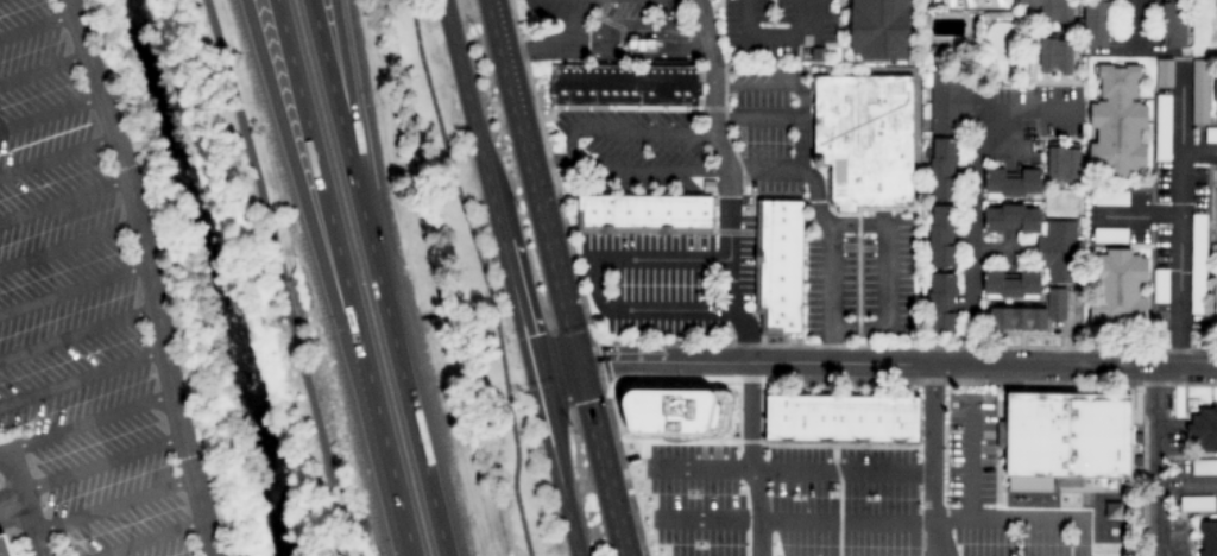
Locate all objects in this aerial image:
building: (1047, 10)
road: (34, 24)
building: (1093, 24)
building: (1169, 24)
building: (878, 29)
road: (639, 34)
road: (561, 45)
building: (639, 46)
road: (639, 56)
building: (1053, 56)
road: (43, 71)
building: (1164, 72)
building: (625, 87)
building: (1199, 91)
building: (1215, 93)
road: (49, 112)
road: (353, 113)
building: (1116, 122)
building: (1162, 128)
building: (944, 134)
building: (1210, 134)
building: (864, 139)
road: (568, 154)
road: (55, 156)
road: (551, 162)
building: (1061, 164)
building: (1010, 184)
building: (1110, 197)
road: (62, 200)
building: (643, 214)
building: (1010, 220)
building: (1109, 235)
building: (941, 238)
road: (269, 242)
road: (67, 245)
building: (1213, 248)
building: (1197, 264)
building: (777, 265)
road: (442, 271)
road: (144, 276)
river: (207, 276)
road: (343, 277)
road: (513, 277)
road: (562, 277)
road: (326, 278)
road: (377, 278)
road: (729, 278)
road: (594, 283)
building: (1009, 284)
building: (1159, 285)
road: (70, 286)
building: (1116, 289)
building: (941, 303)
building: (1054, 304)
building: (1213, 307)
parking lot: (80, 312)
building: (1015, 320)
road: (75, 334)
building: (1156, 334)
road: (877, 364)
road: (80, 377)
building: (669, 411)
building: (840, 418)
road: (84, 423)
building: (1203, 428)
building: (1065, 436)
road: (932, 460)
road: (99, 462)
building: (1204, 466)
building: (1196, 503)
road: (111, 504)
road: (23, 505)
parking lot: (805, 510)
road: (341, 520)
road: (147, 538)
building: (1207, 538)
building: (2, 546)

